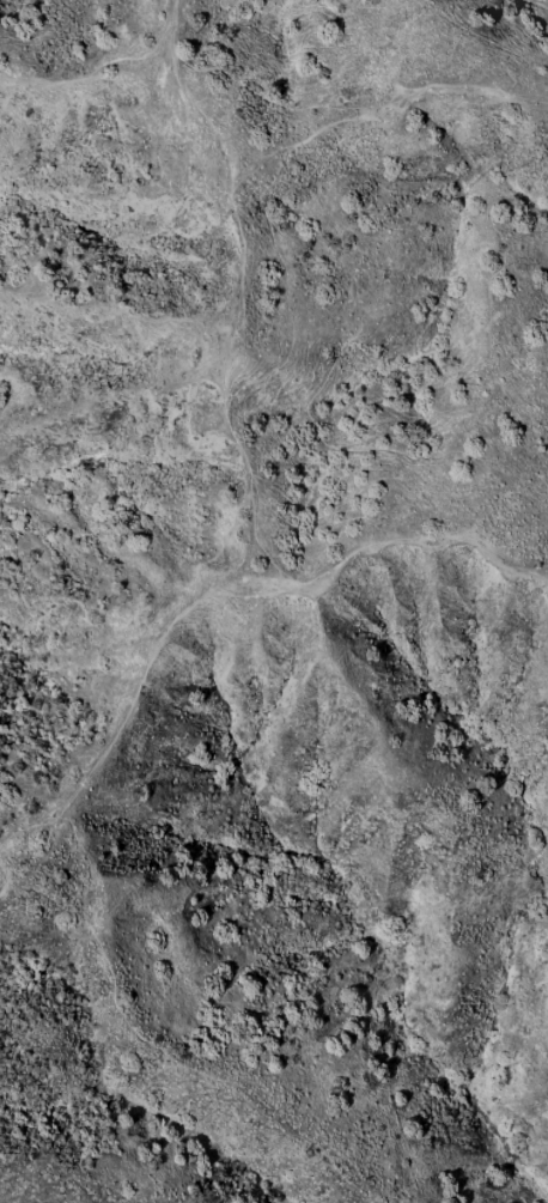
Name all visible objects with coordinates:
road: (251, 478)

